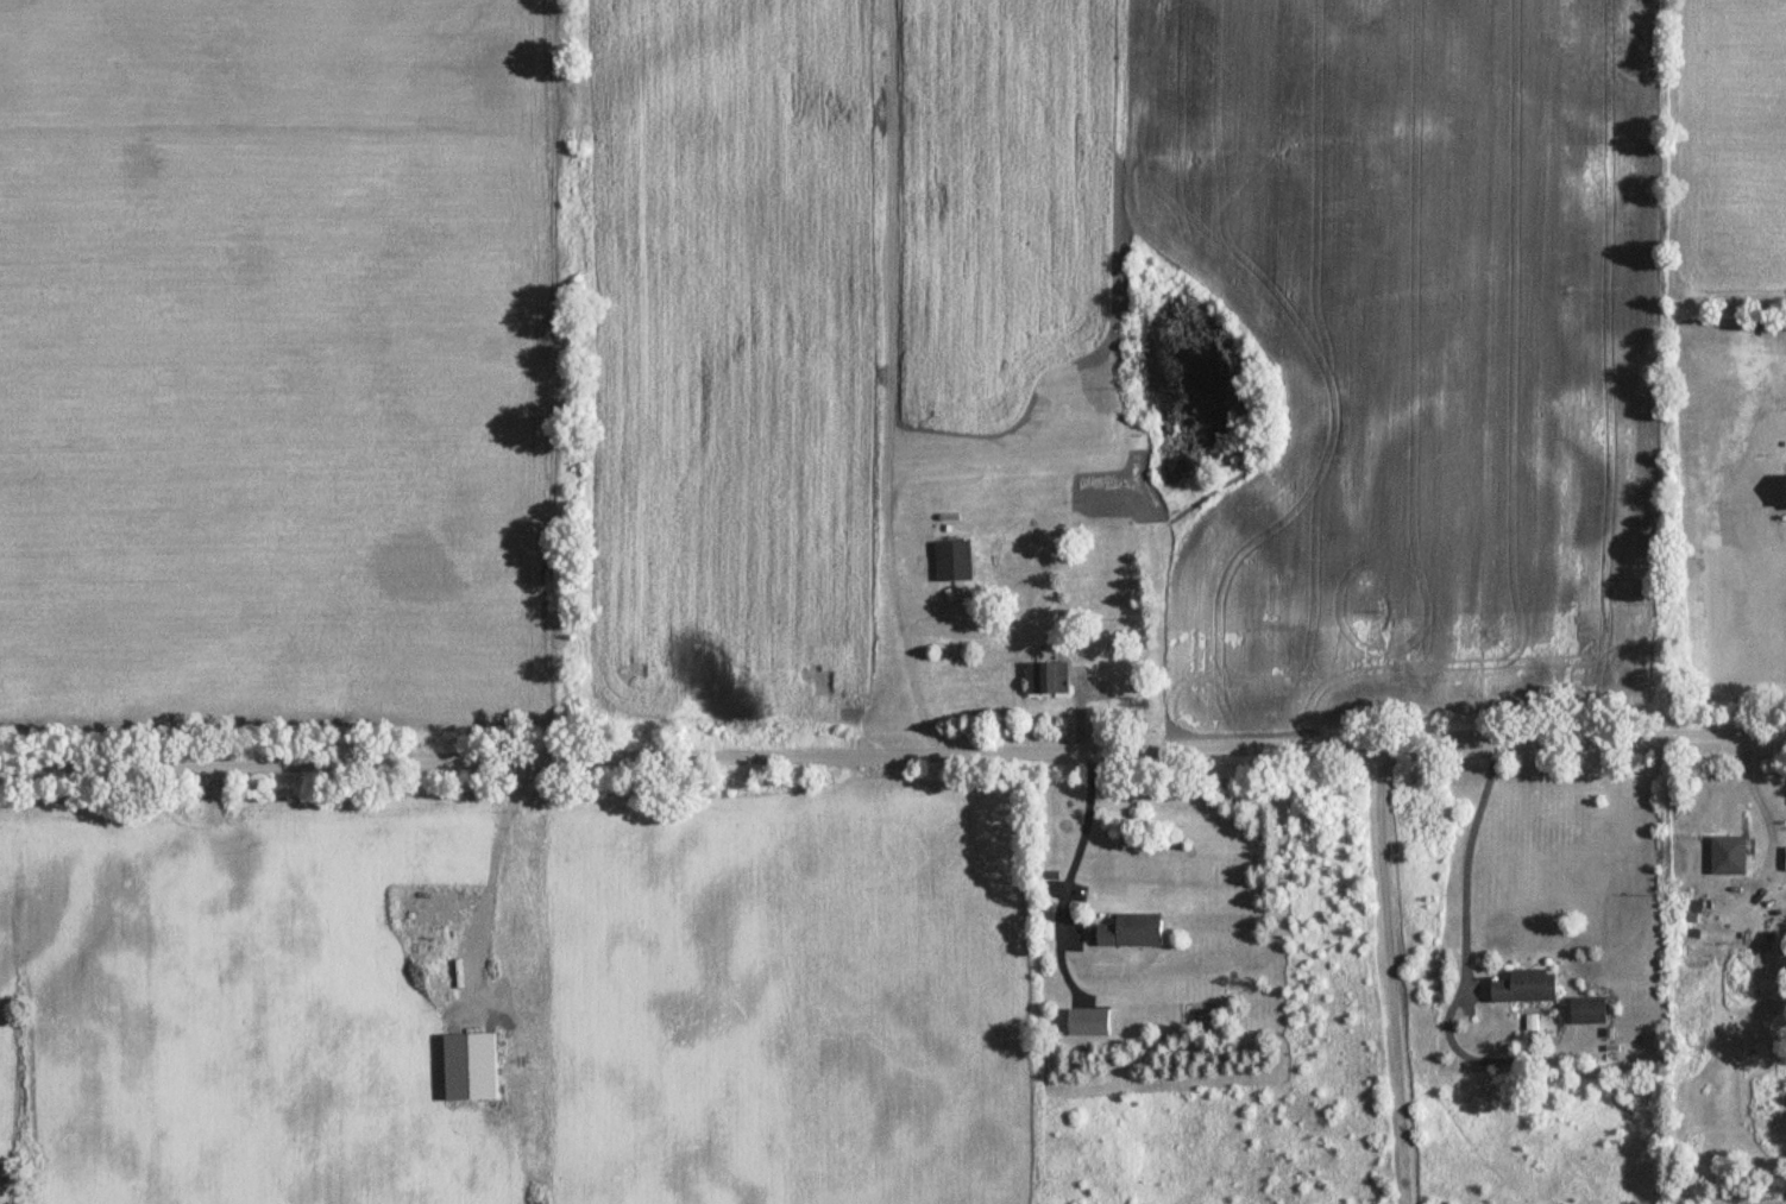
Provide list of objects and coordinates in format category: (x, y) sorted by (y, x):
crop: (1729, 150)
crop: (1322, 323)
airport runway: (1351, 345)
crop: (728, 351)
crop: (271, 359)
road: (887, 380)
building: (944, 568)
building: (1040, 687)
road: (1075, 714)
road: (893, 755)
road: (1075, 840)
building: (1725, 853)
road: (1465, 865)
road: (485, 888)
building: (1131, 929)
road: (1390, 973)
building: (1523, 985)
crop: (233, 1001)
crop: (781, 1001)
building: (1585, 1007)
building: (1087, 1020)
building: (466, 1069)

